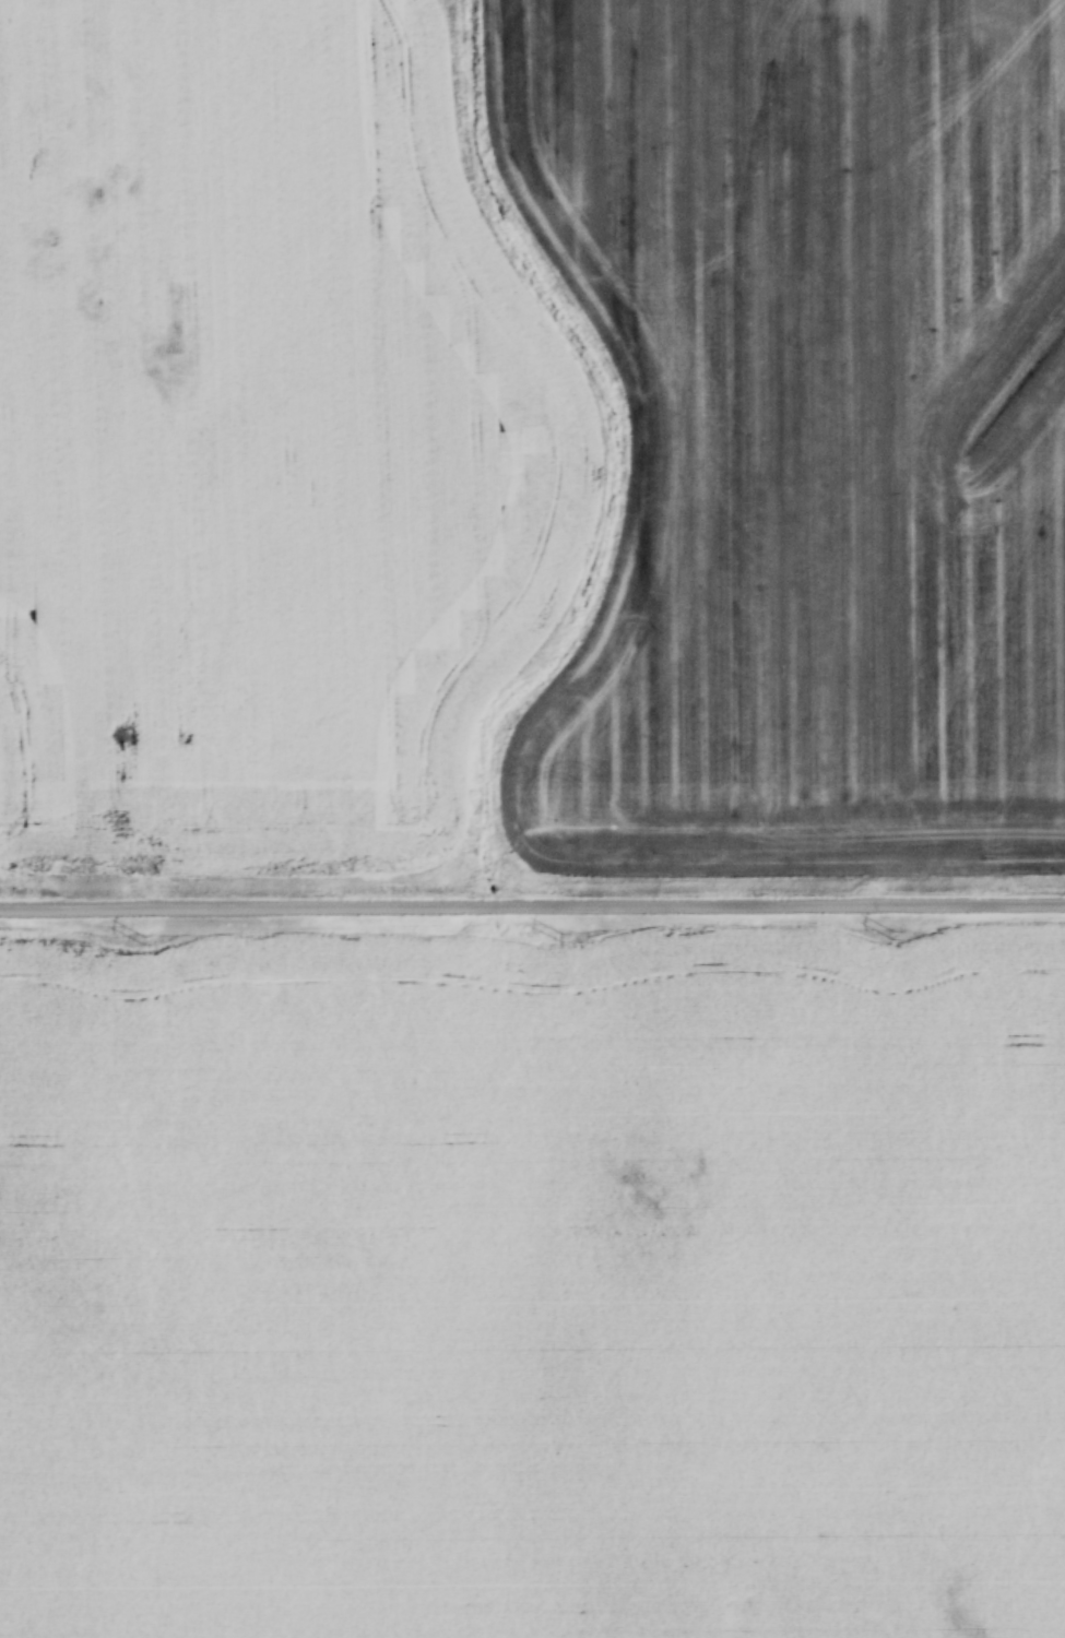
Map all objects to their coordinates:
road: (532, 901)
power tower: (891, 934)
power tower: (556, 935)
power tower: (138, 936)

